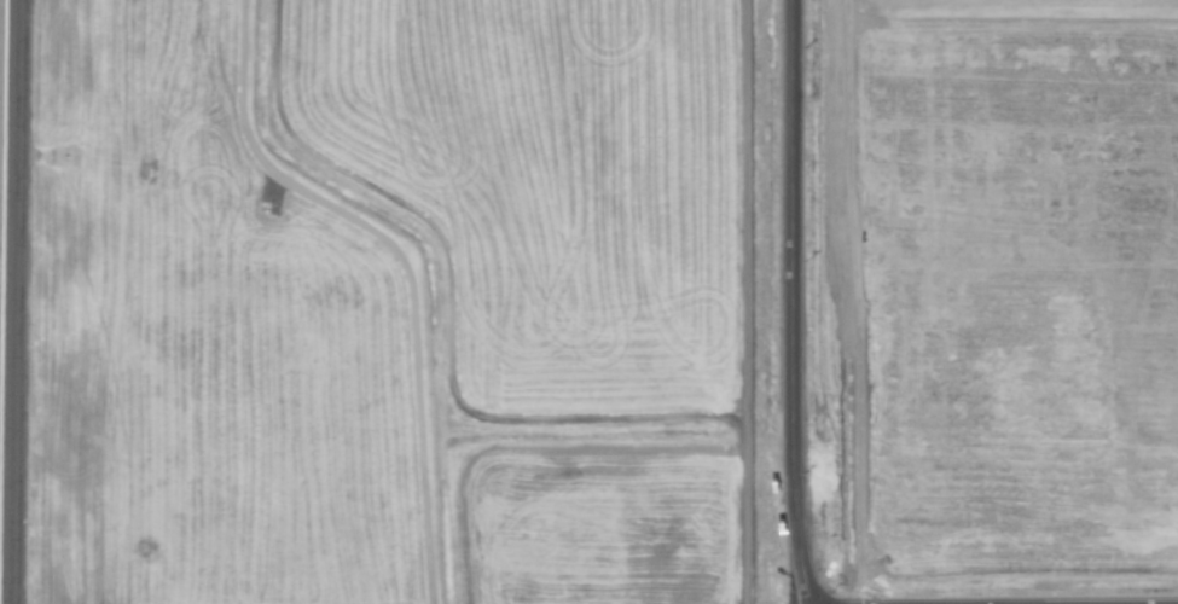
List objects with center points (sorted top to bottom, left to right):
airport: (385, 302)
road: (793, 302)

